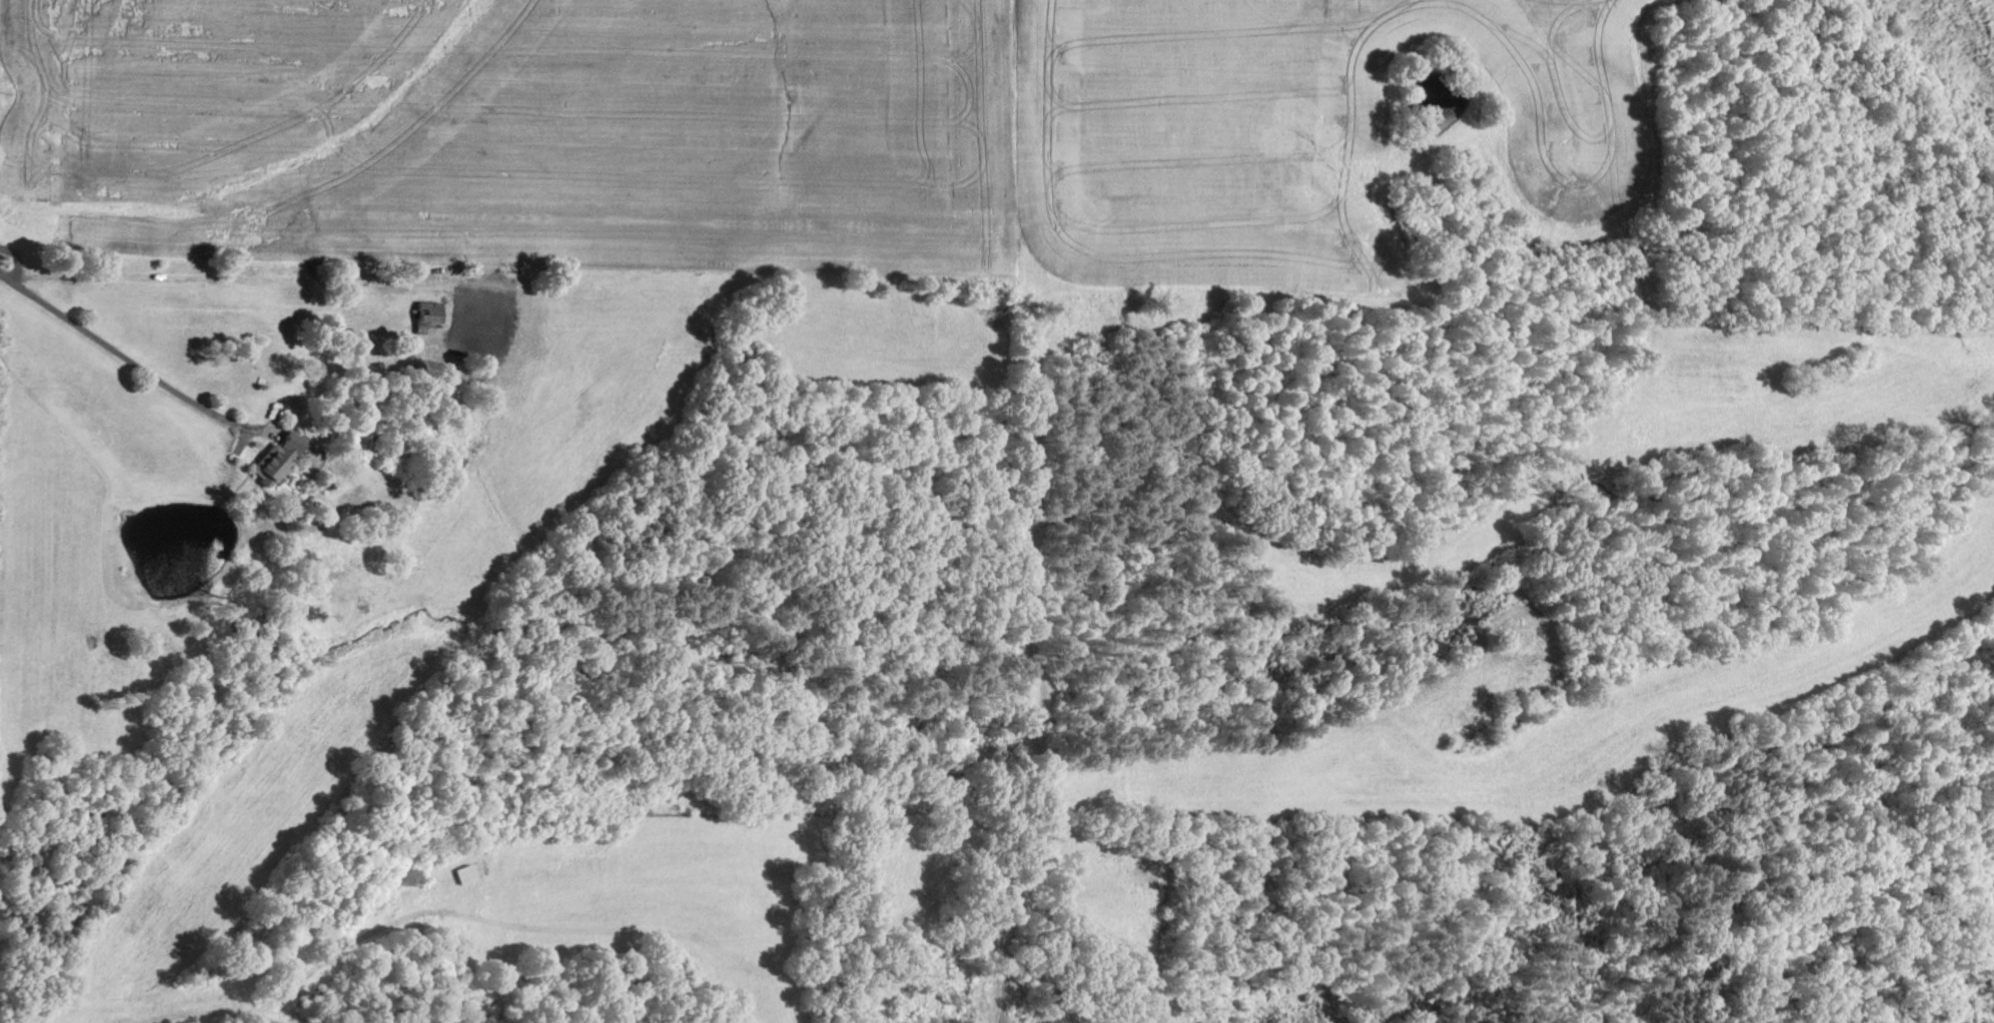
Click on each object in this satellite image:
road: (22, 267)
building: (429, 309)
building: (278, 458)

